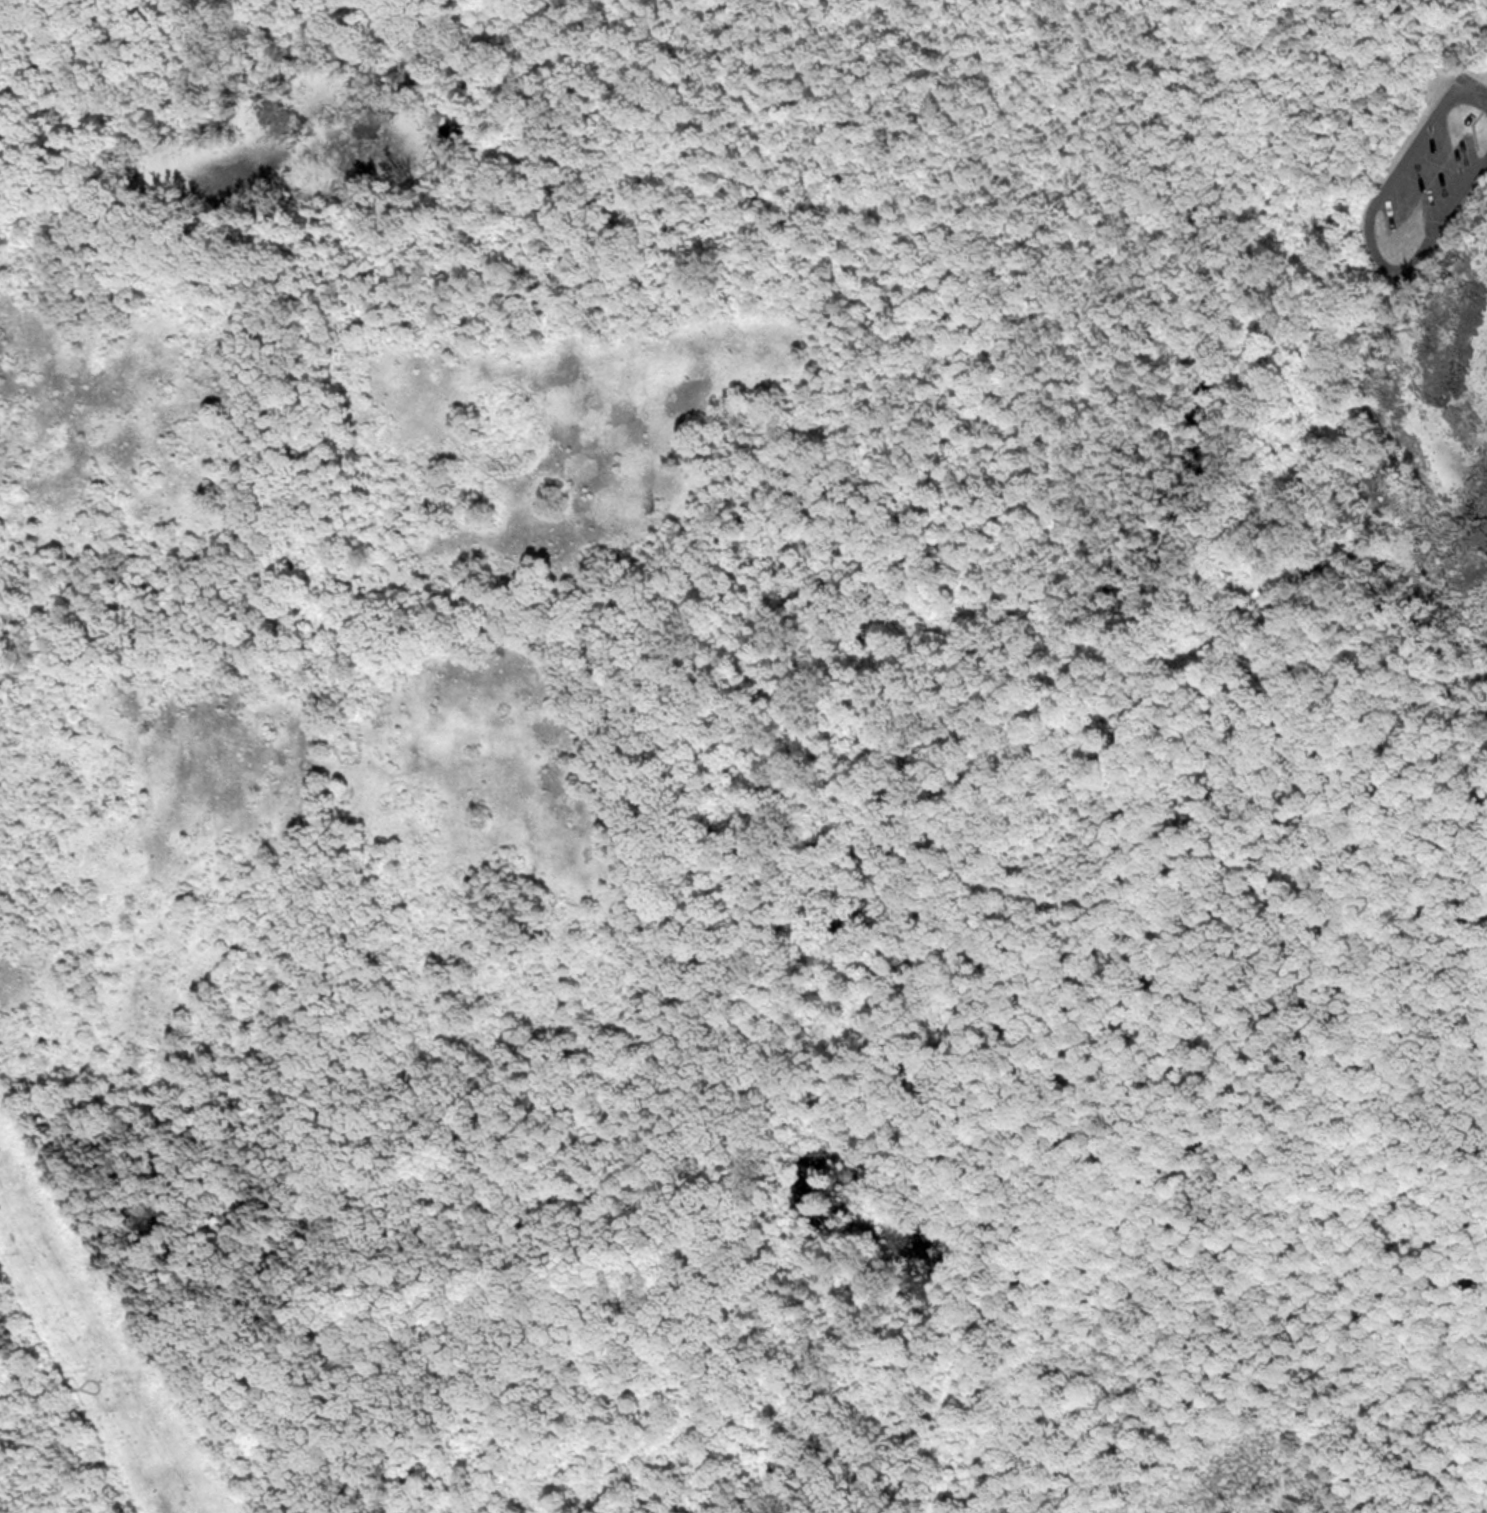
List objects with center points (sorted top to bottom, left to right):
building: (1467, 119)
road: (1471, 123)
parking lot: (1426, 183)
road: (1368, 227)
park: (759, 740)

